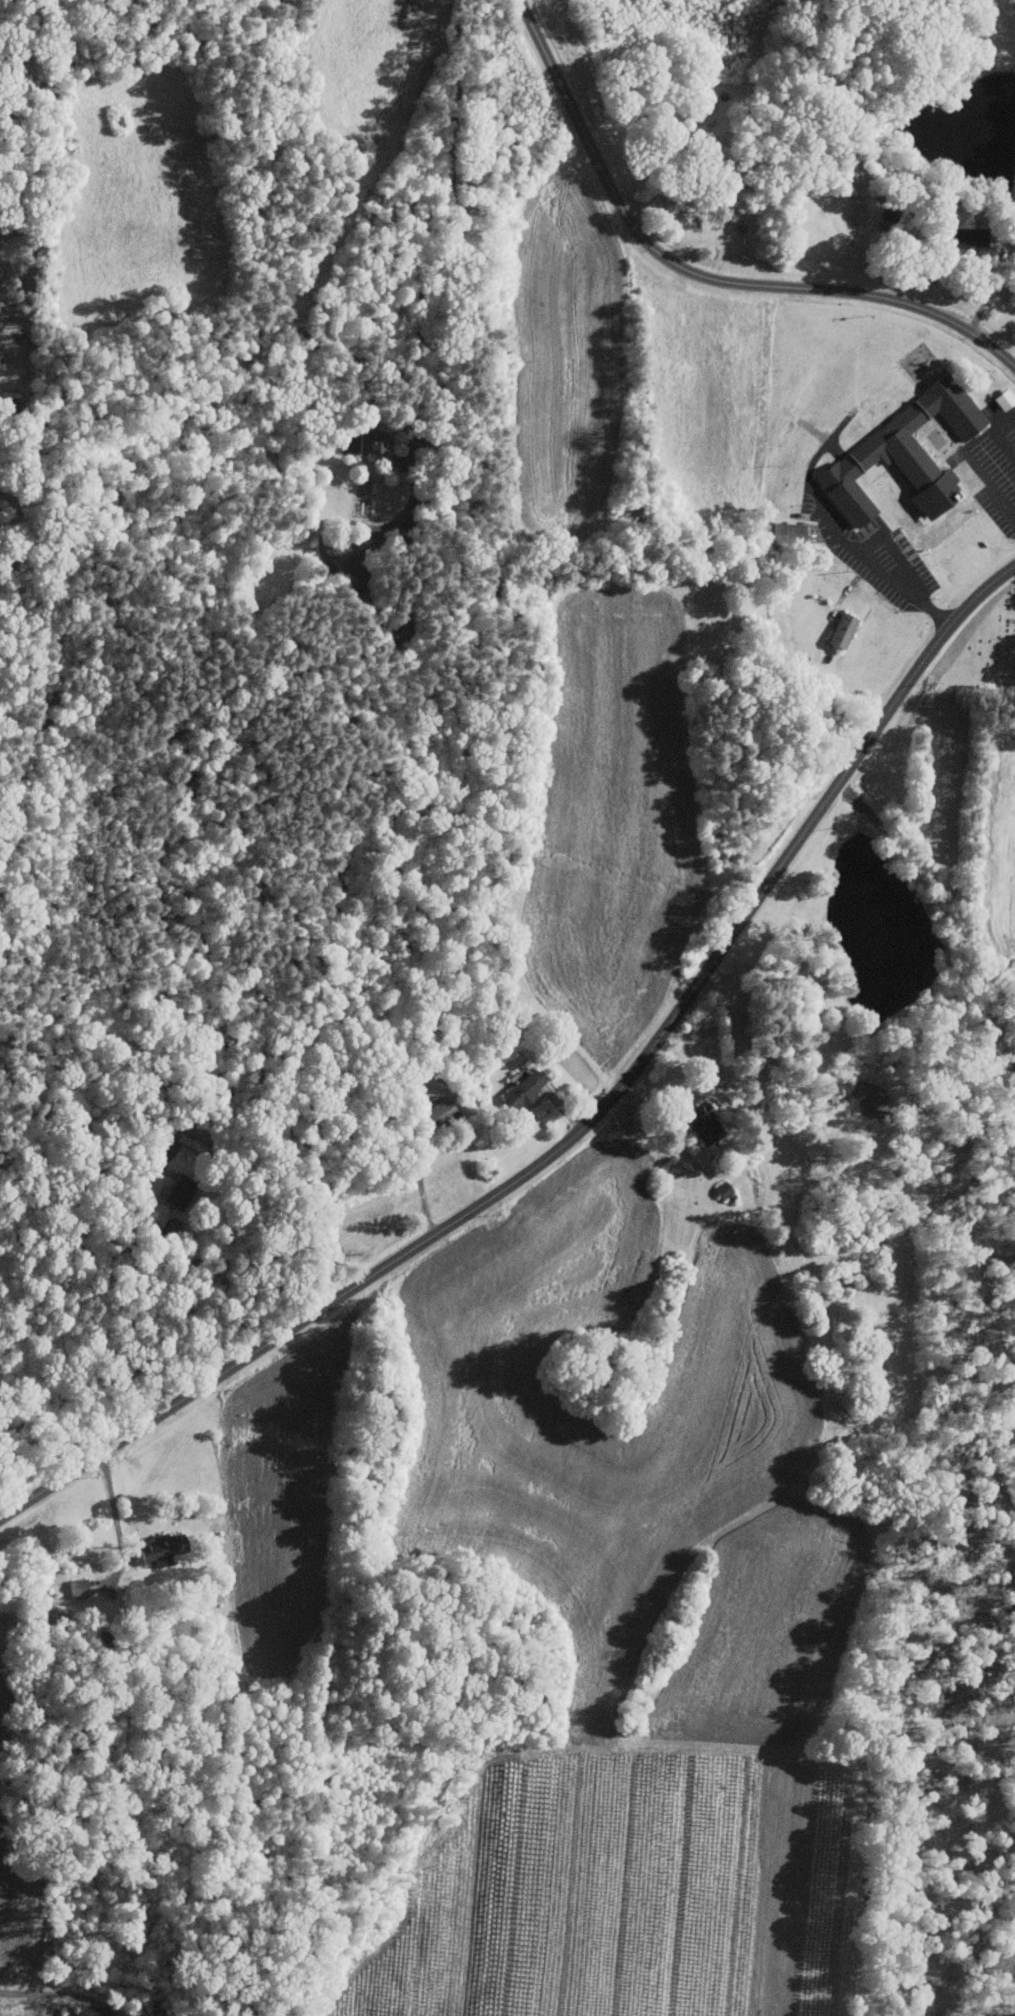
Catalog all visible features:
building: (958, 236)
road: (436, 264)
road: (697, 277)
road: (994, 284)
building: (0, 352)
building: (1003, 398)
road: (998, 433)
building: (373, 440)
building: (901, 452)
building: (782, 534)
building: (352, 555)
road: (909, 587)
building: (840, 630)
building: (526, 1088)
building: (441, 1111)
building: (704, 1126)
road: (587, 1127)
road: (420, 1180)
road: (154, 1262)
road: (119, 1525)
road: (59, 1996)

